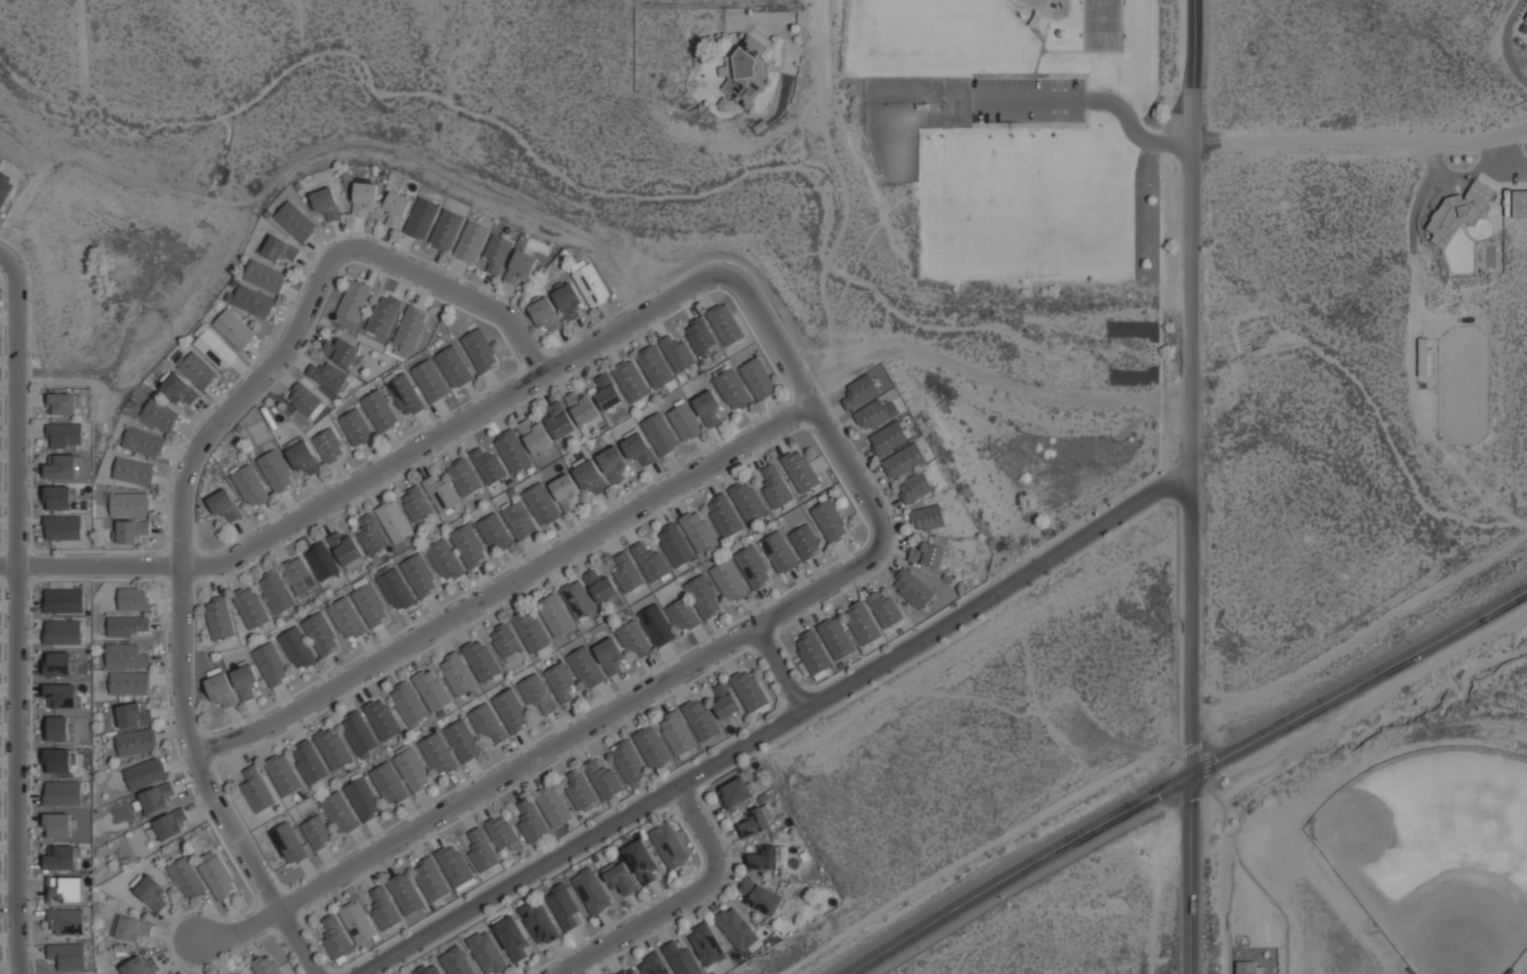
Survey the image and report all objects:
building: (1526, 19)
road: (825, 46)
building: (743, 72)
road: (1362, 135)
park: (1017, 150)
building: (5, 189)
building: (363, 198)
building: (1519, 203)
building: (325, 204)
building: (395, 209)
building: (1459, 210)
building: (420, 218)
building: (294, 221)
building: (445, 230)
building: (470, 242)
building: (279, 249)
building: (496, 254)
building: (519, 267)
building: (263, 276)
building: (589, 283)
building: (353, 300)
building: (566, 300)
building: (250, 301)
building: (544, 313)
building: (382, 315)
building: (726, 325)
building: (411, 327)
building: (234, 330)
building: (701, 336)
building: (216, 349)
building: (480, 351)
building: (343, 352)
building: (678, 354)
building: (1423, 358)
building: (454, 367)
building: (655, 367)
building: (197, 369)
building: (329, 377)
building: (758, 379)
building: (631, 380)
building: (430, 381)
road: (1196, 386)
building: (179, 390)
building: (732, 390)
building: (608, 392)
building: (860, 392)
building: (404, 393)
road: (809, 396)
building: (303, 399)
building: (65, 404)
building: (582, 408)
building: (707, 408)
building: (380, 411)
building: (160, 415)
building: (875, 415)
building: (560, 421)
building: (685, 422)
building: (356, 428)
building: (660, 434)
building: (64, 436)
building: (536, 437)
building: (889, 439)
building: (143, 443)
building: (329, 446)
building: (638, 449)
building: (512, 451)
building: (303, 458)
building: (904, 462)
building: (613, 464)
building: (488, 466)
building: (61, 468)
building: (801, 470)
building: (134, 472)
building: (277, 472)
building: (464, 477)
building: (590, 478)
road: (190, 481)
building: (251, 487)
building: (775, 487)
building: (915, 488)
building: (566, 493)
building: (441, 494)
building: (58, 497)
building: (748, 501)
building: (416, 503)
building: (130, 505)
building: (224, 505)
building: (541, 505)
building: (724, 516)
building: (928, 519)
building: (519, 520)
building: (394, 521)
building: (831, 521)
building: (62, 528)
building: (698, 530)
building: (131, 531)
building: (495, 532)
building: (371, 534)
building: (806, 542)
building: (675, 545)
building: (469, 547)
building: (345, 549)
building: (779, 553)
building: (929, 555)
building: (445, 560)
building: (322, 562)
building: (651, 562)
building: (754, 567)
building: (627, 573)
building: (299, 576)
building: (420, 576)
building: (729, 581)
road: (508, 586)
building: (601, 588)
building: (395, 589)
building: (913, 589)
building: (276, 592)
building: (704, 597)
building: (577, 599)
building: (134, 600)
building: (63, 601)
building: (370, 605)
building: (251, 607)
road: (21, 610)
building: (885, 610)
building: (683, 615)
building: (554, 616)
building: (220, 618)
building: (347, 620)
building: (862, 624)
building: (127, 626)
building: (657, 626)
building: (530, 630)
building: (61, 633)
building: (321, 635)
building: (632, 637)
building: (837, 638)
building: (504, 640)
building: (297, 649)
building: (609, 655)
building: (814, 655)
building: (125, 656)
building: (481, 660)
building: (59, 664)
building: (271, 665)
building: (586, 668)
road: (780, 668)
building: (458, 675)
building: (245, 681)
building: (129, 683)
building: (562, 683)
building: (221, 689)
building: (432, 690)
building: (750, 691)
building: (537, 693)
building: (61, 695)
building: (725, 702)
building: (408, 704)
building: (512, 711)
building: (135, 715)
building: (383, 719)
building: (701, 719)
building: (487, 723)
road: (787, 725)
building: (57, 729)
building: (359, 733)
building: (678, 733)
building: (463, 741)
building: (137, 743)
building: (652, 747)
building: (333, 748)
building: (439, 755)
building: (57, 761)
building: (310, 762)
building: (629, 762)
building: (412, 768)
building: (145, 774)
building: (283, 775)
road: (1193, 777)
building: (603, 780)
building: (389, 784)
building: (258, 791)
building: (581, 792)
building: (62, 793)
building: (734, 793)
building: (157, 798)
building: (363, 799)
building: (554, 806)
building: (340, 814)
building: (756, 821)
building: (531, 822)
building: (57, 825)
building: (166, 828)
building: (501, 831)
building: (317, 832)
building: (288, 844)
building: (670, 845)
building: (481, 850)
park: (1436, 855)
building: (768, 857)
building: (62, 858)
building: (643, 863)
building: (456, 867)
road: (1198, 873)
building: (185, 878)
building: (218, 879)
building: (430, 879)
building: (621, 880)
building: (65, 890)
building: (592, 891)
building: (151, 892)
building: (406, 894)
building: (761, 897)
road: (683, 902)
building: (565, 908)
building: (384, 909)
building: (66, 922)
building: (358, 923)
building: (539, 923)
building: (132, 929)
building: (735, 929)
building: (512, 938)
building: (337, 939)
building: (705, 944)
building: (488, 952)
building: (68, 956)
building: (680, 958)
building: (456, 962)
building: (266, 965)
building: (653, 965)
building: (139, 966)
building: (1246, 968)
building: (428, 969)
building: (239, 972)
building: (630, 972)

